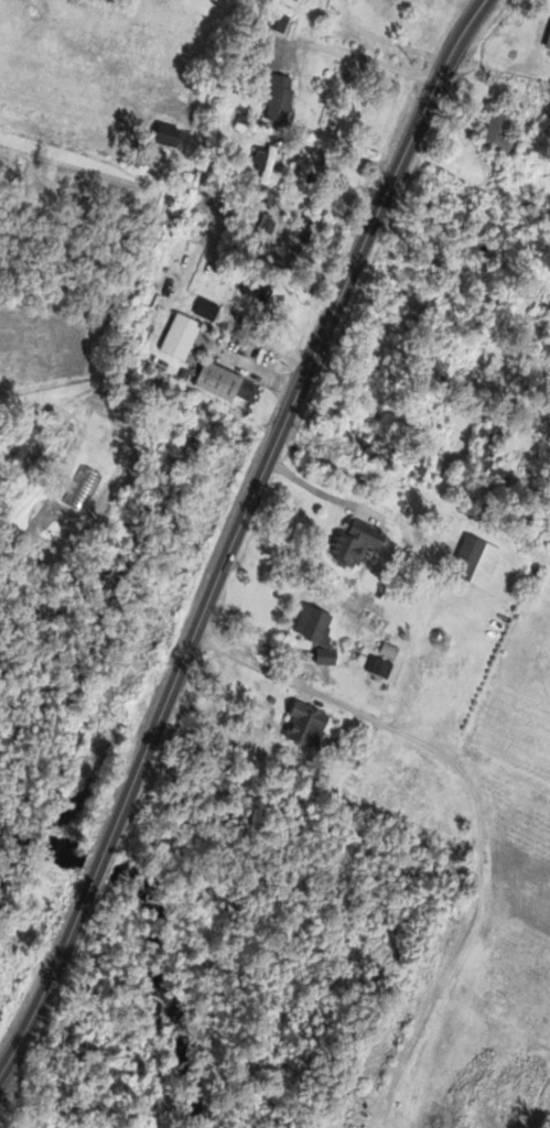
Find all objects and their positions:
building: (547, 42)
road: (367, 58)
building: (281, 99)
building: (549, 100)
building: (495, 135)
building: (170, 139)
building: (266, 163)
building: (257, 289)
building: (207, 310)
building: (548, 333)
building: (181, 335)
building: (219, 380)
building: (485, 452)
road: (320, 492)
road: (237, 534)
building: (357, 542)
building: (471, 562)
building: (319, 631)
building: (384, 659)
building: (308, 725)
road: (477, 806)

